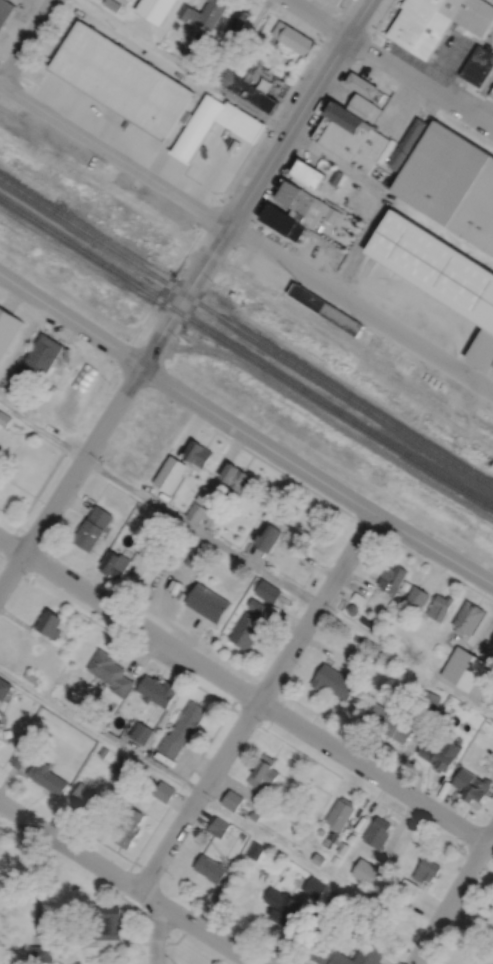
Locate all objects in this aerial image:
building: (337, 2)
building: (343, 2)
building: (112, 5)
building: (154, 10)
building: (5, 11)
building: (204, 13)
building: (436, 22)
building: (238, 23)
building: (176, 25)
building: (294, 38)
road: (322, 39)
road: (26, 42)
building: (128, 46)
road: (450, 47)
road: (404, 49)
road: (390, 64)
road: (184, 66)
building: (478, 67)
building: (251, 73)
building: (103, 84)
building: (364, 88)
building: (243, 89)
road: (476, 94)
building: (491, 94)
building: (130, 105)
building: (361, 107)
building: (176, 122)
building: (240, 122)
building: (198, 128)
building: (342, 132)
building: (406, 145)
road: (303, 146)
building: (369, 151)
road: (342, 167)
building: (308, 175)
road: (256, 183)
building: (451, 183)
road: (226, 190)
building: (299, 201)
building: (326, 212)
building: (283, 222)
road: (276, 231)
road: (247, 236)
road: (361, 244)
parking lot: (321, 252)
building: (440, 271)
railway: (245, 288)
building: (325, 308)
road: (70, 318)
building: (8, 328)
railway: (246, 331)
railway: (246, 352)
building: (39, 359)
building: (5, 418)
building: (198, 452)
building: (167, 468)
road: (315, 475)
road: (69, 476)
building: (236, 476)
building: (209, 497)
road: (342, 509)
building: (196, 511)
building: (267, 515)
building: (167, 523)
building: (94, 527)
road: (24, 531)
building: (269, 536)
road: (9, 541)
building: (149, 545)
road: (246, 559)
building: (114, 563)
building: (393, 576)
building: (269, 591)
building: (418, 596)
building: (359, 597)
building: (208, 602)
building: (256, 606)
building: (441, 606)
building: (353, 609)
building: (469, 618)
building: (366, 621)
building: (51, 623)
building: (375, 629)
building: (246, 630)
building: (355, 636)
building: (111, 672)
building: (446, 674)
building: (31, 676)
building: (455, 677)
building: (334, 681)
building: (471, 683)
building: (4, 688)
road: (243, 689)
building: (157, 690)
road: (256, 700)
building: (429, 701)
road: (229, 704)
building: (0, 711)
road: (275, 713)
building: (388, 722)
building: (1, 724)
building: (182, 729)
building: (141, 732)
building: (30, 741)
building: (104, 752)
building: (442, 753)
building: (20, 759)
building: (122, 766)
building: (264, 775)
road: (345, 777)
building: (48, 778)
building: (473, 785)
building: (164, 791)
building: (87, 800)
building: (232, 800)
road: (213, 804)
building: (340, 813)
building: (254, 815)
building: (219, 827)
building: (130, 830)
building: (321, 831)
building: (378, 832)
building: (243, 835)
building: (330, 839)
building: (338, 841)
road: (69, 845)
building: (343, 848)
building: (256, 850)
building: (318, 859)
building: (336, 859)
building: (210, 868)
building: (242, 868)
building: (427, 870)
building: (368, 872)
road: (38, 882)
building: (315, 886)
building: (368, 889)
building: (408, 890)
building: (335, 897)
road: (453, 897)
building: (282, 905)
road: (158, 918)
building: (108, 920)
building: (318, 920)
road: (142, 935)
road: (211, 935)
building: (322, 951)
building: (41, 952)
building: (360, 955)
building: (75, 962)

